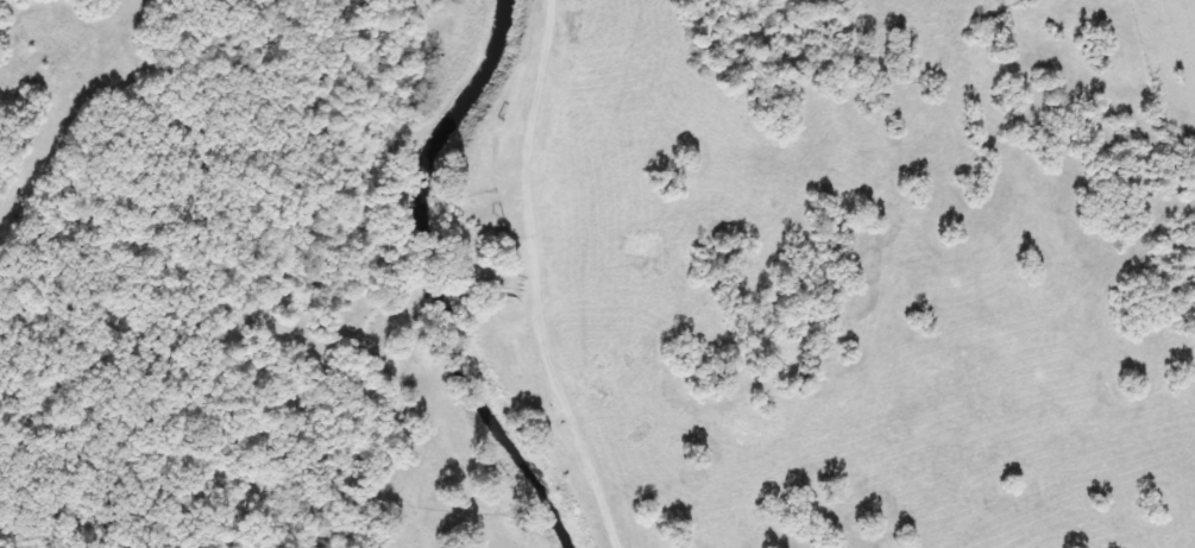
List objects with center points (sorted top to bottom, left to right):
road: (533, 279)

